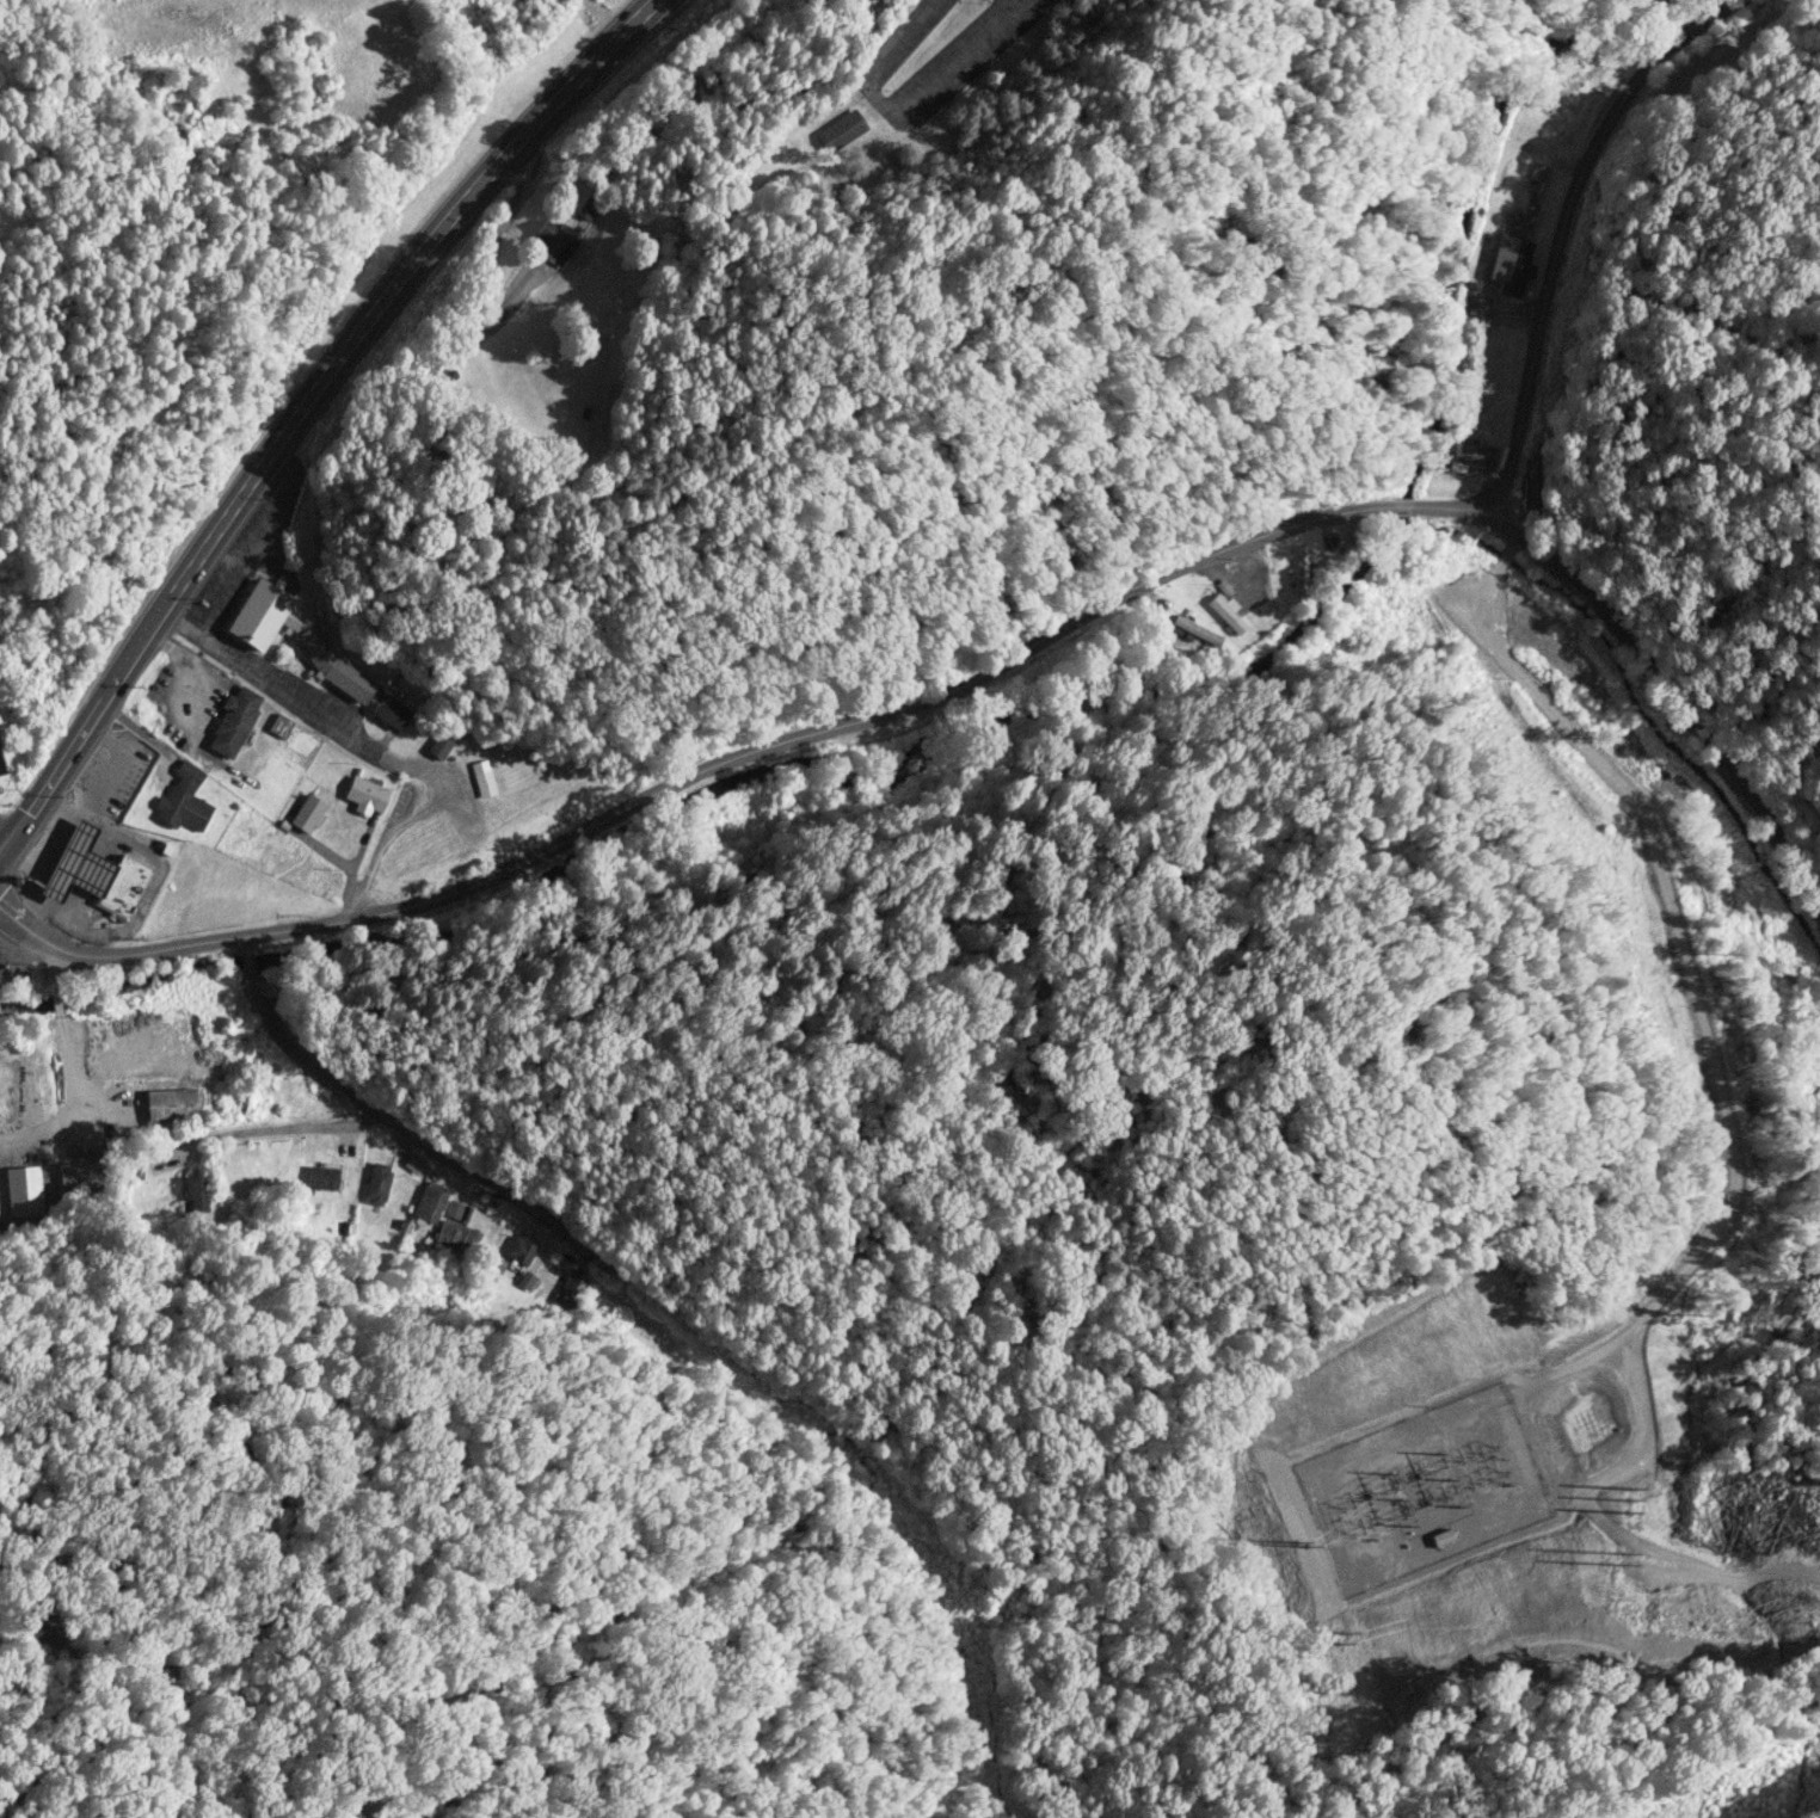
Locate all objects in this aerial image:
road: (903, 117)
building: (840, 131)
building: (1537, 172)
building: (586, 209)
road: (1563, 229)
building: (554, 241)
park: (205, 247)
building: (1510, 264)
road: (481, 276)
building: (1477, 306)
road: (310, 406)
building: (1468, 450)
building: (1457, 466)
building: (1529, 481)
road: (1403, 506)
road: (1446, 507)
building: (1299, 569)
building: (1223, 587)
building: (1225, 611)
building: (1195, 630)
building: (310, 649)
road: (1670, 684)
building: (233, 721)
building: (281, 726)
building: (439, 745)
road: (363, 747)
road: (701, 771)
building: (2, 777)
building: (482, 777)
building: (365, 794)
building: (183, 800)
building: (307, 813)
building: (92, 873)
road: (48, 960)
road: (55, 994)
road: (361, 1102)
building: (171, 1105)
road: (76, 1110)
road: (299, 1133)
building: (414, 1163)
building: (133, 1169)
building: (321, 1177)
building: (79, 1181)
building: (376, 1183)
building: (23, 1190)
building: (196, 1193)
building: (429, 1203)
building: (457, 1210)
building: (399, 1224)
building: (343, 1227)
building: (456, 1237)
building: (521, 1247)
building: (494, 1263)
building: (558, 1267)
building: (525, 1280)
building: (570, 1289)

